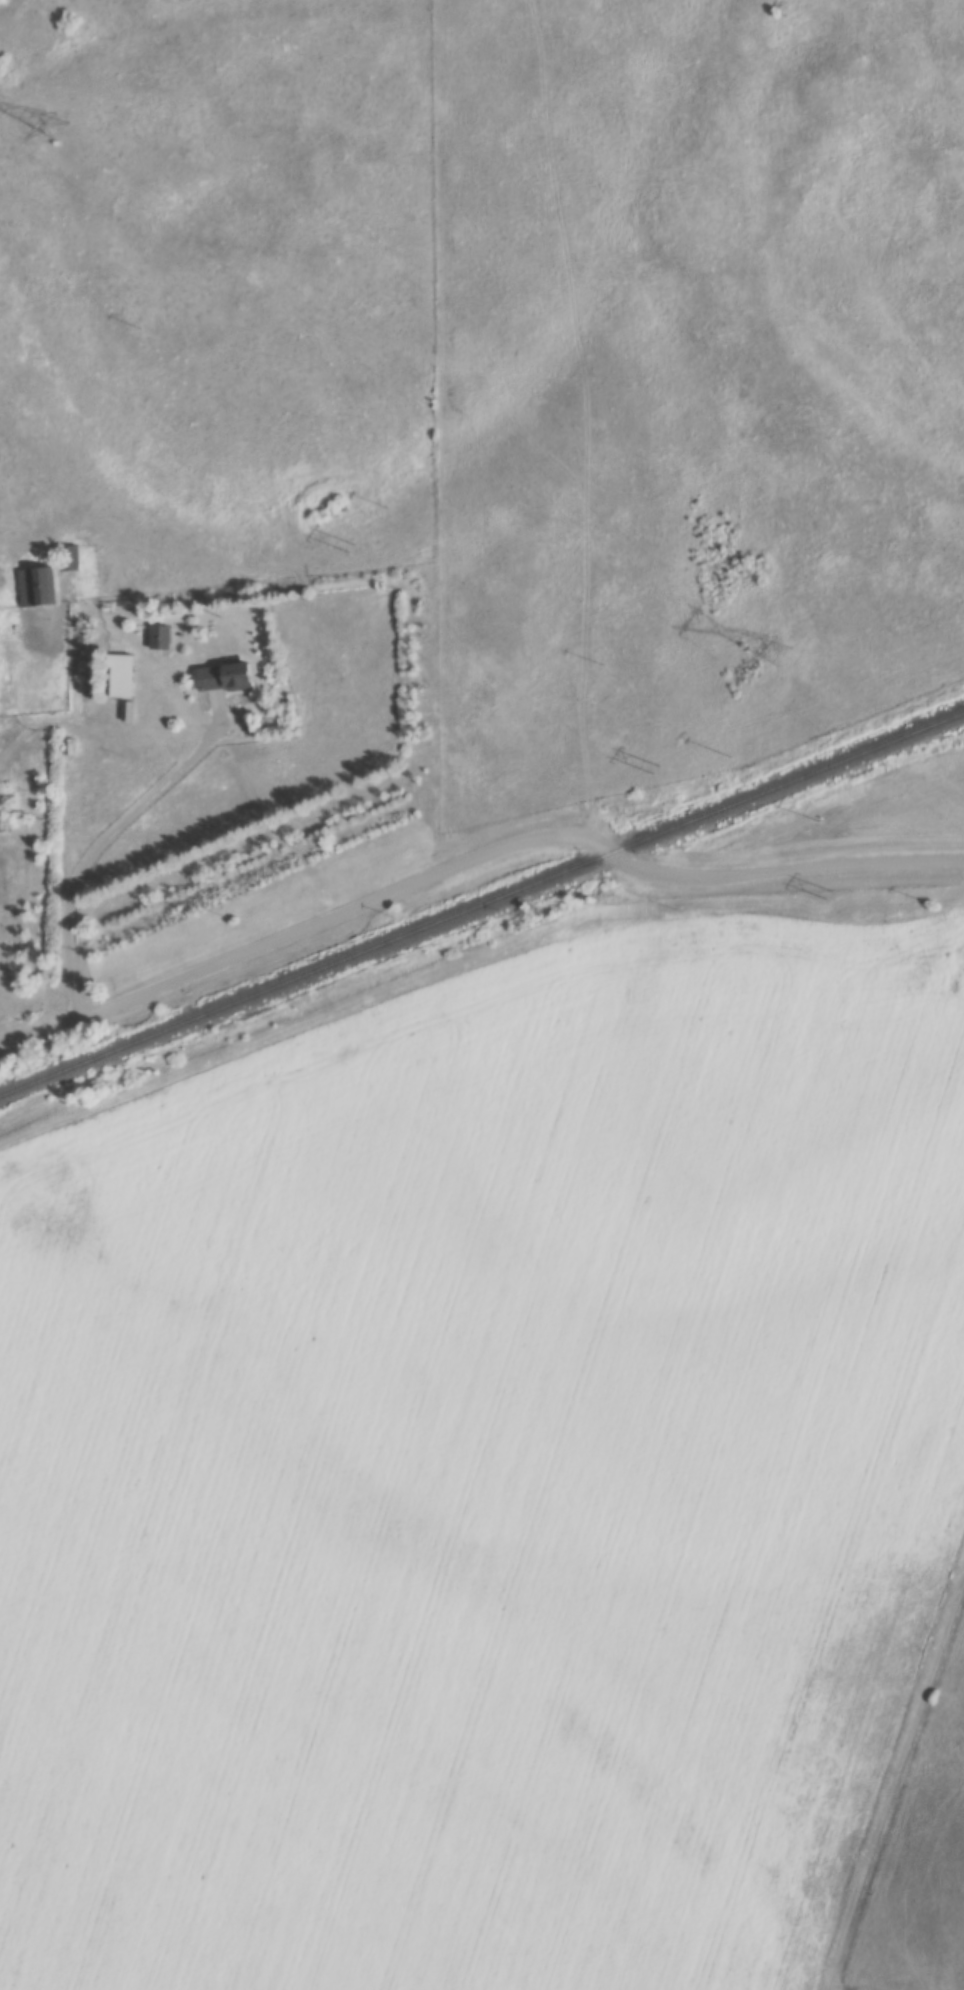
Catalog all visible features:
power tower: (59, 127)
building: (73, 558)
building: (31, 587)
building: (159, 637)
power tower: (781, 651)
building: (121, 676)
building: (223, 678)
road: (96, 856)
road: (469, 862)
railway: (481, 905)
road: (897, 1784)

